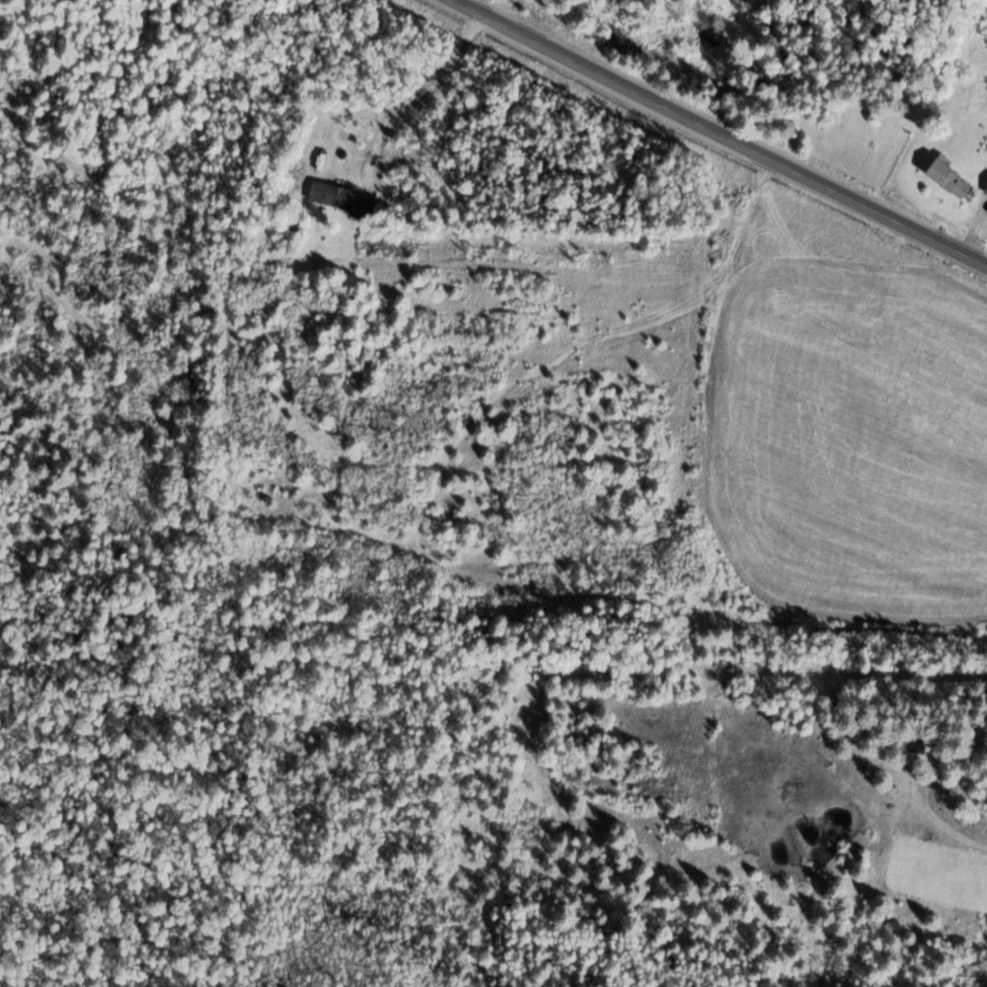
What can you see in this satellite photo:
road: (613, 79)
building: (945, 178)
building: (985, 186)
building: (329, 193)
road: (878, 211)
road: (894, 669)
building: (915, 745)
quarry: (740, 773)

